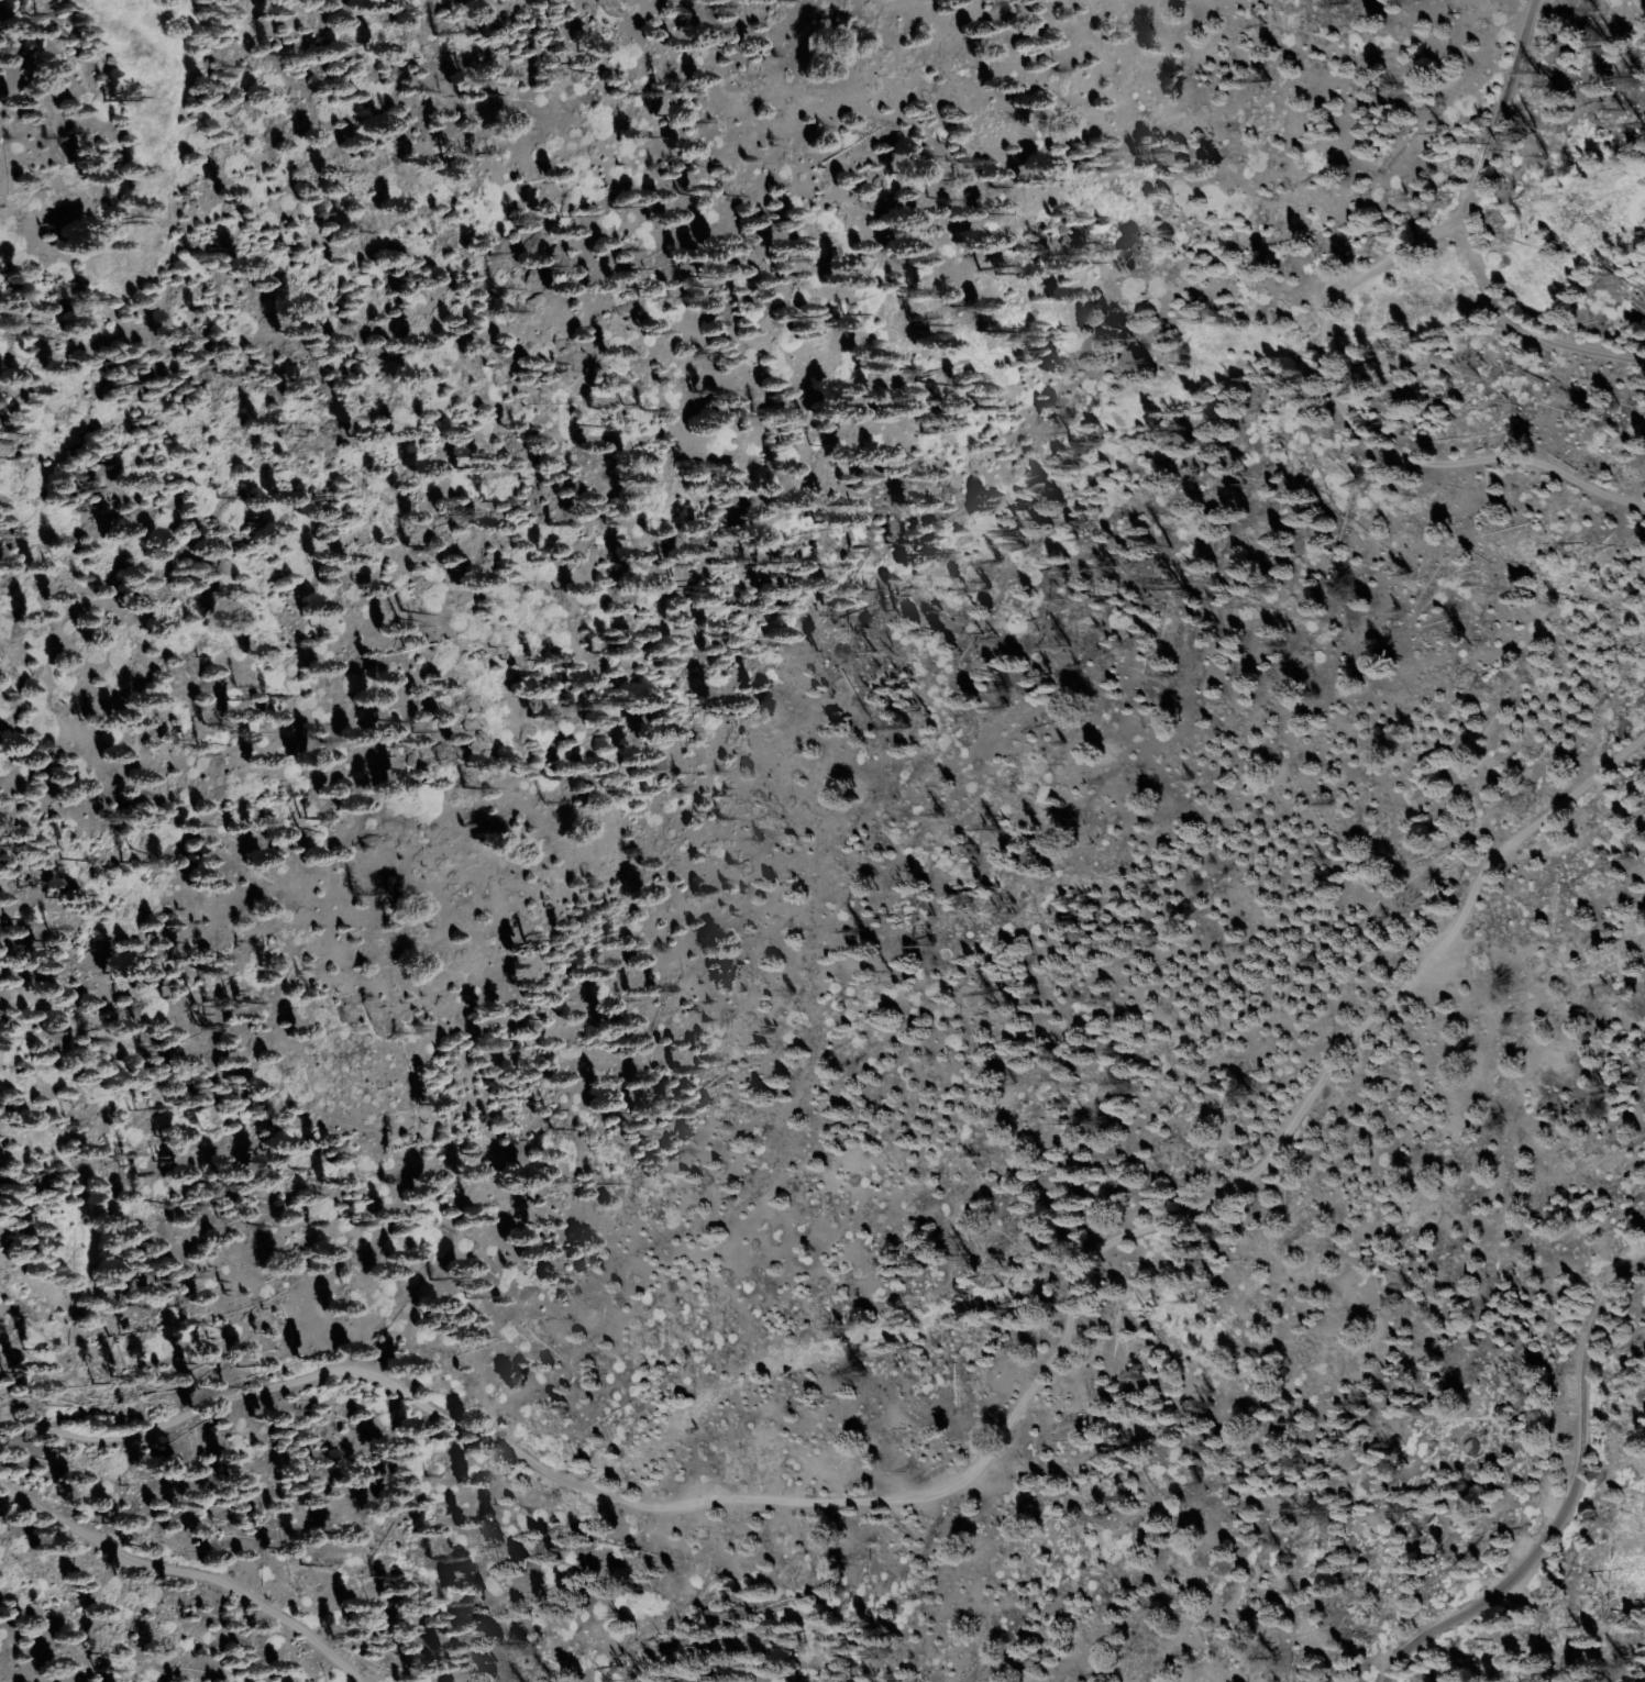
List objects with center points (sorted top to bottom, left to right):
road: (1465, 229)
road: (1370, 429)
road: (971, 1470)
road: (1566, 1500)
road: (181, 1574)

